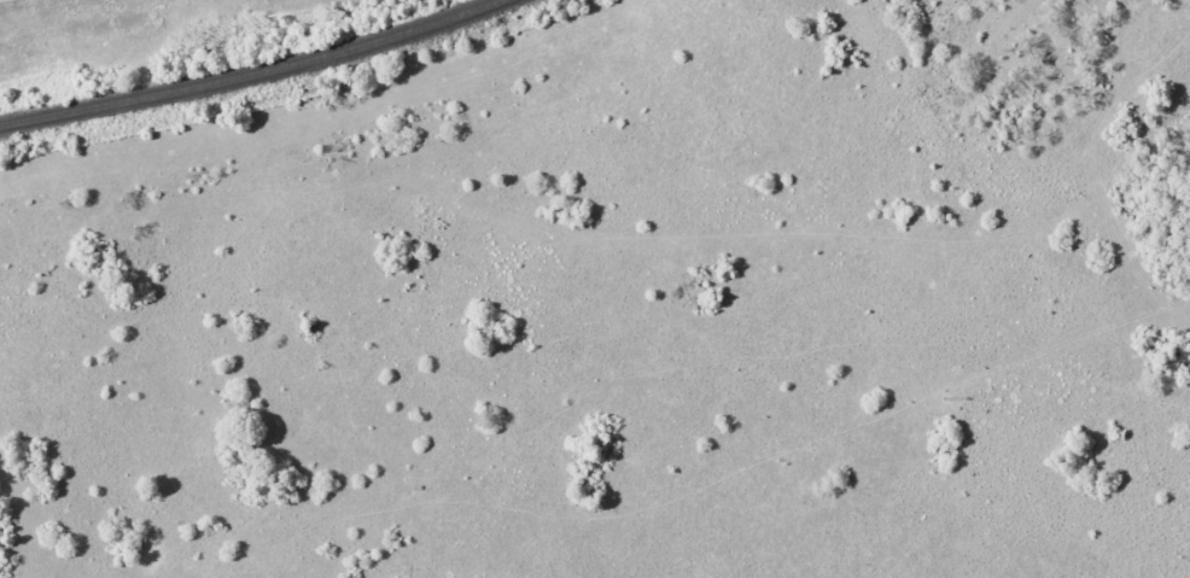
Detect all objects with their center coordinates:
railway: (250, 74)

